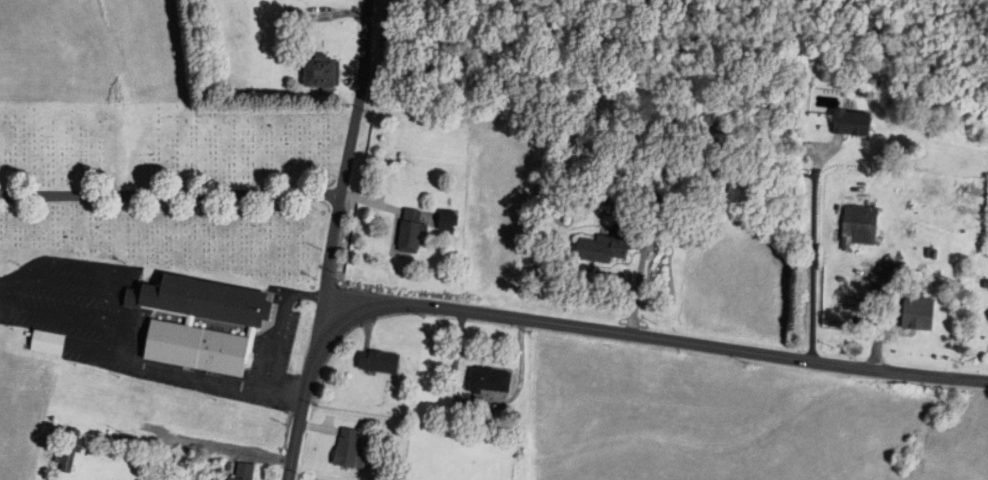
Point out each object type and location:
building: (323, 73)
building: (856, 123)
road: (346, 160)
park: (172, 186)
road: (170, 194)
building: (448, 222)
building: (863, 225)
building: (412, 232)
building: (608, 247)
road: (812, 253)
building: (922, 313)
road: (50, 316)
building: (205, 324)
road: (280, 326)
road: (120, 327)
road: (654, 338)
building: (51, 344)
building: (382, 363)
building: (493, 382)
road: (284, 394)
road: (303, 399)
building: (352, 452)
building: (246, 472)

